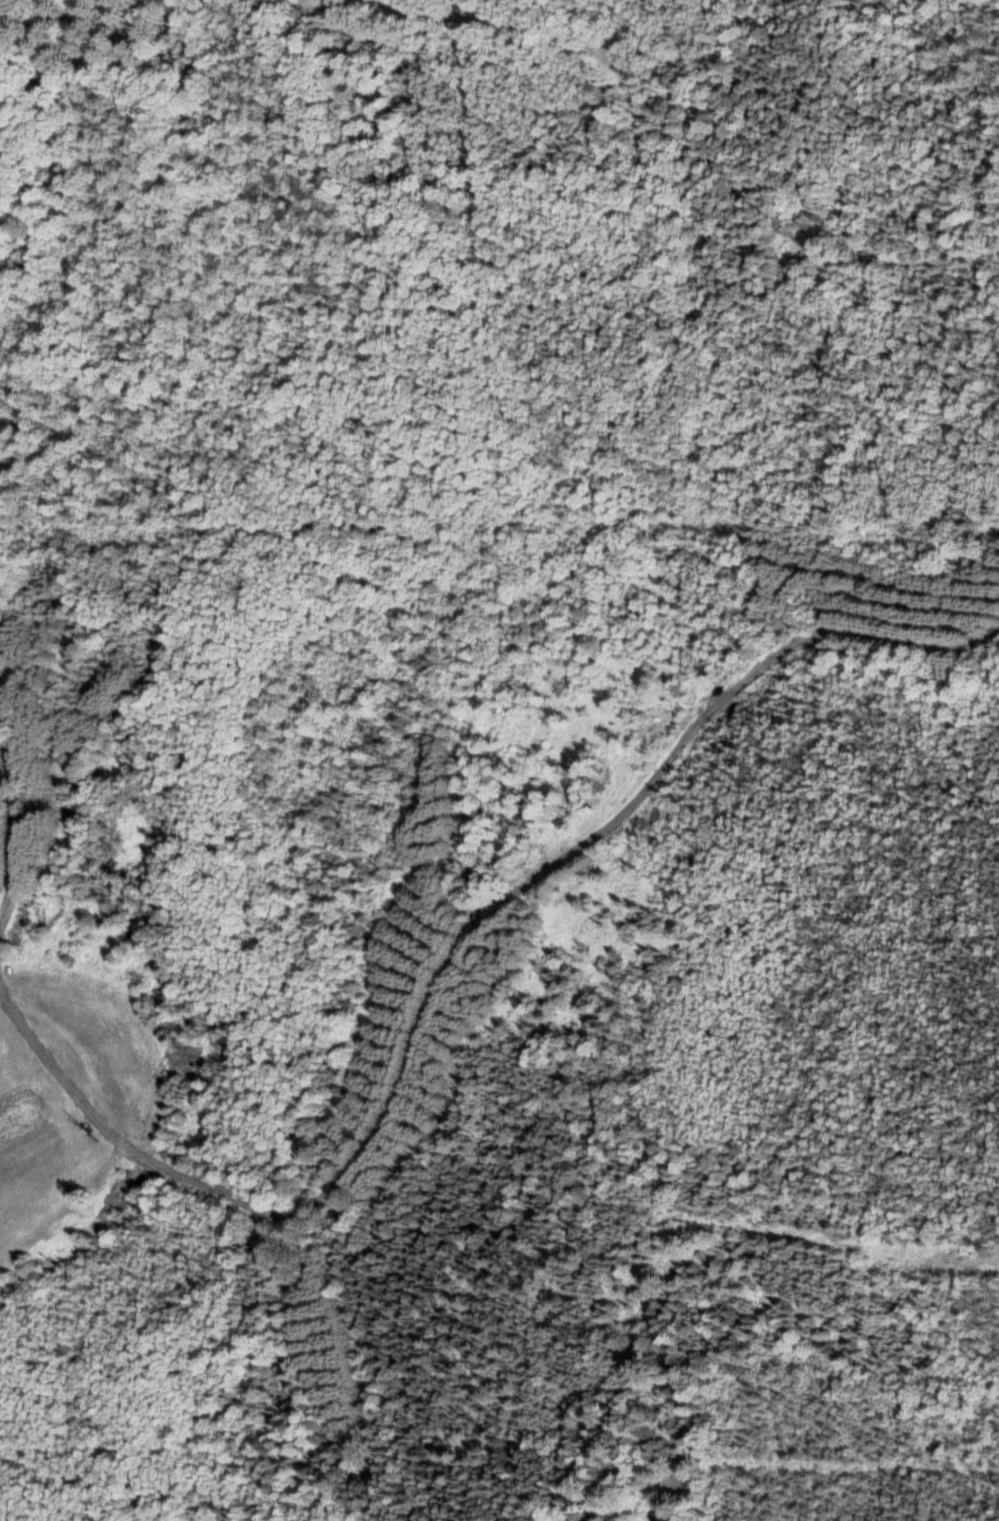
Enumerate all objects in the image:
road: (15, 834)
road: (446, 970)

